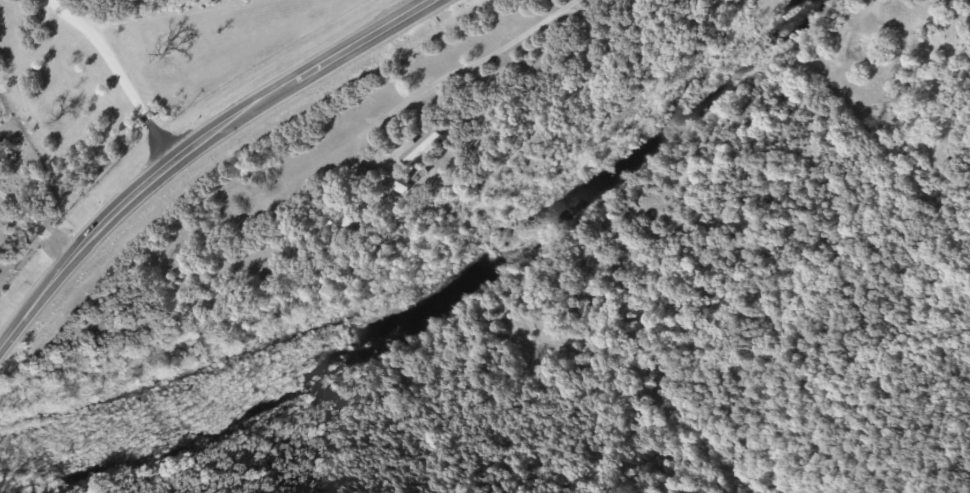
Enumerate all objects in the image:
road: (119, 76)
building: (425, 147)
road: (194, 148)
river: (446, 297)

